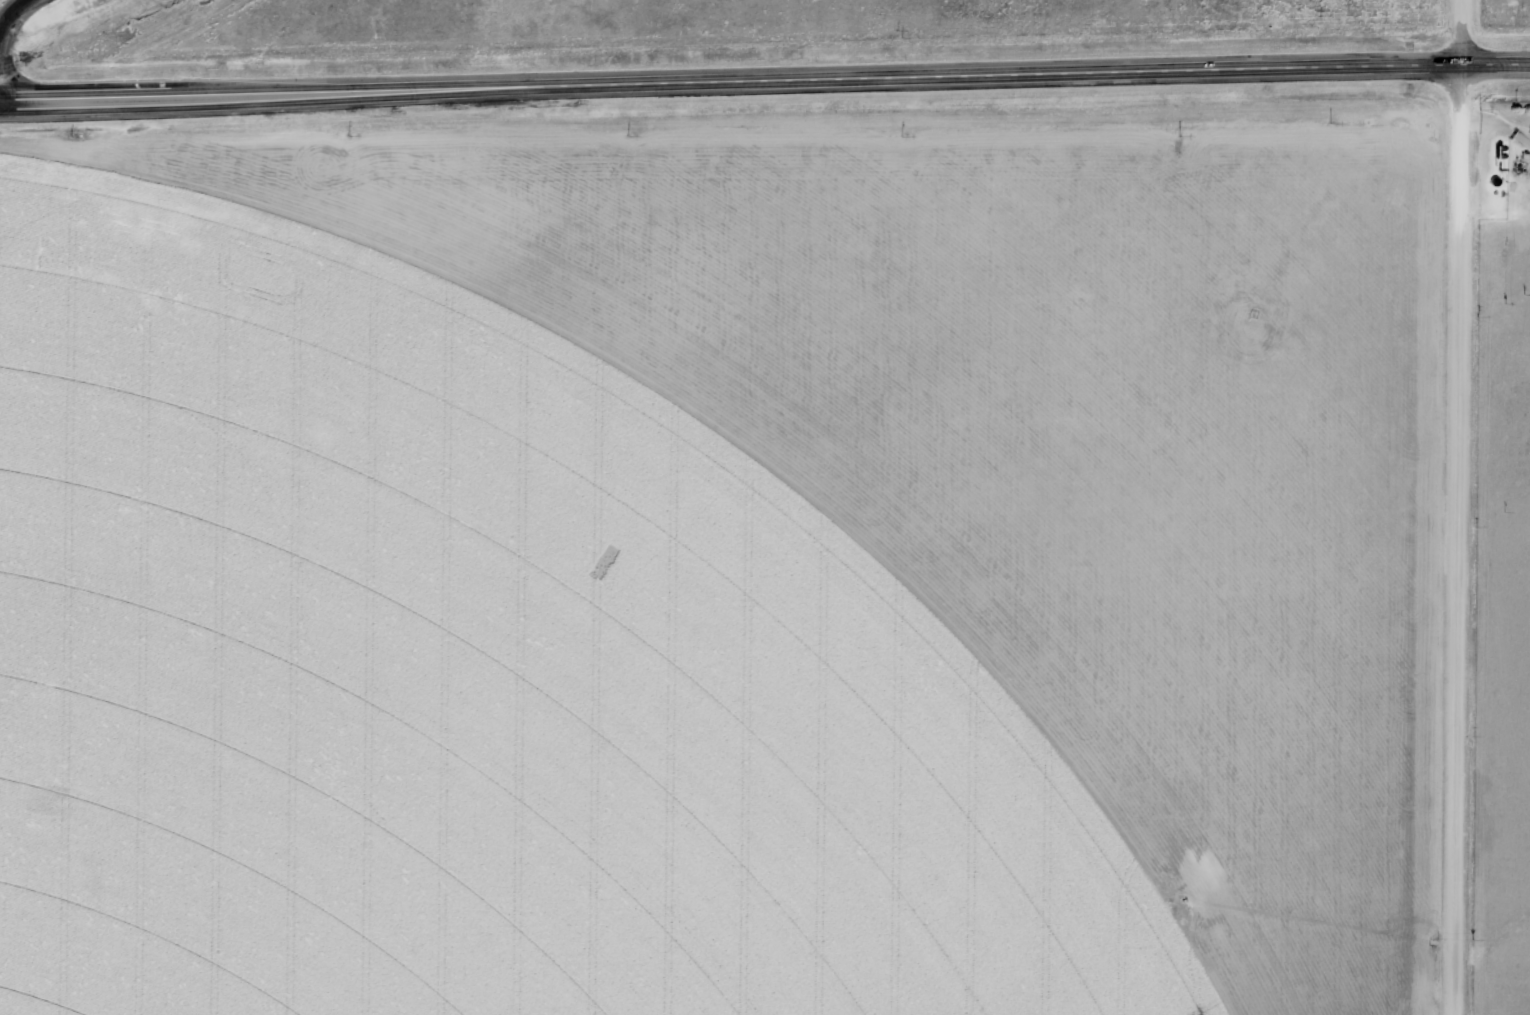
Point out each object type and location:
road: (3, 19)
road: (764, 82)
road: (1462, 507)

